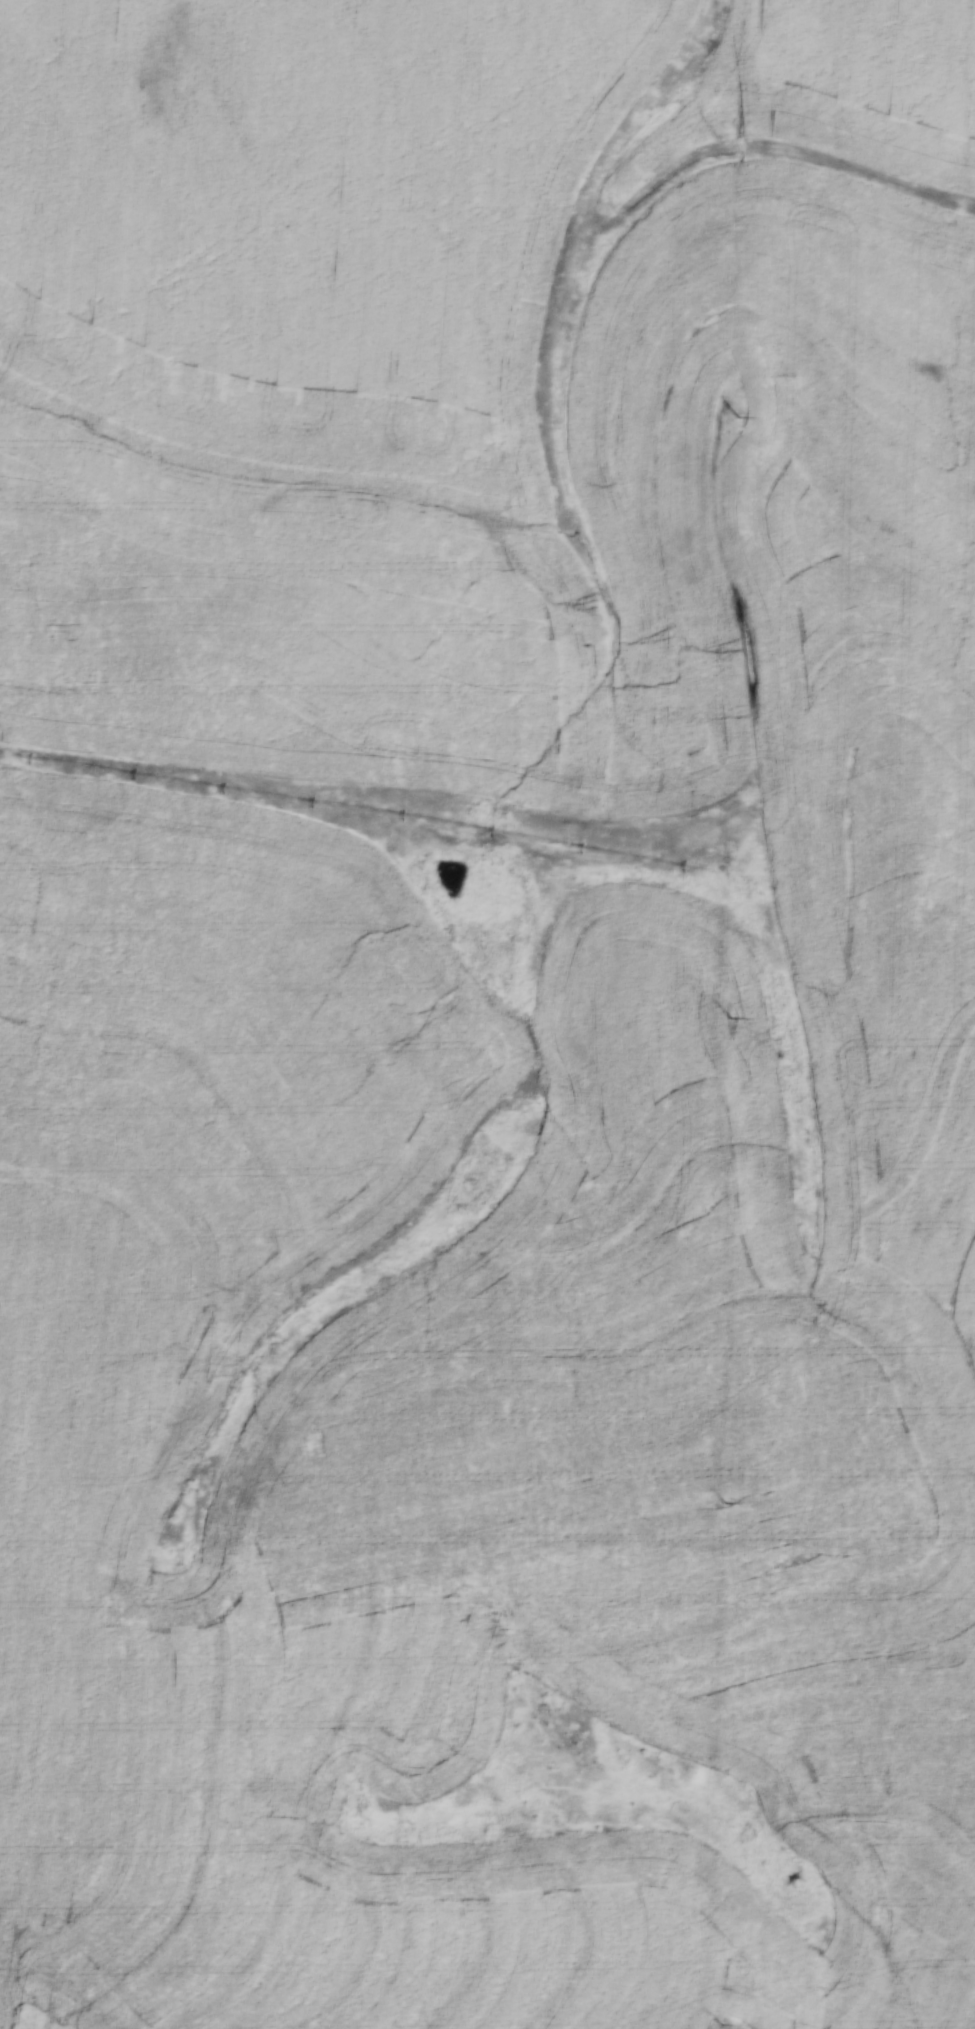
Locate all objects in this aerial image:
power tower: (737, 422)
power tower: (730, 1013)
power tower: (724, 1506)
power tower: (717, 2021)

